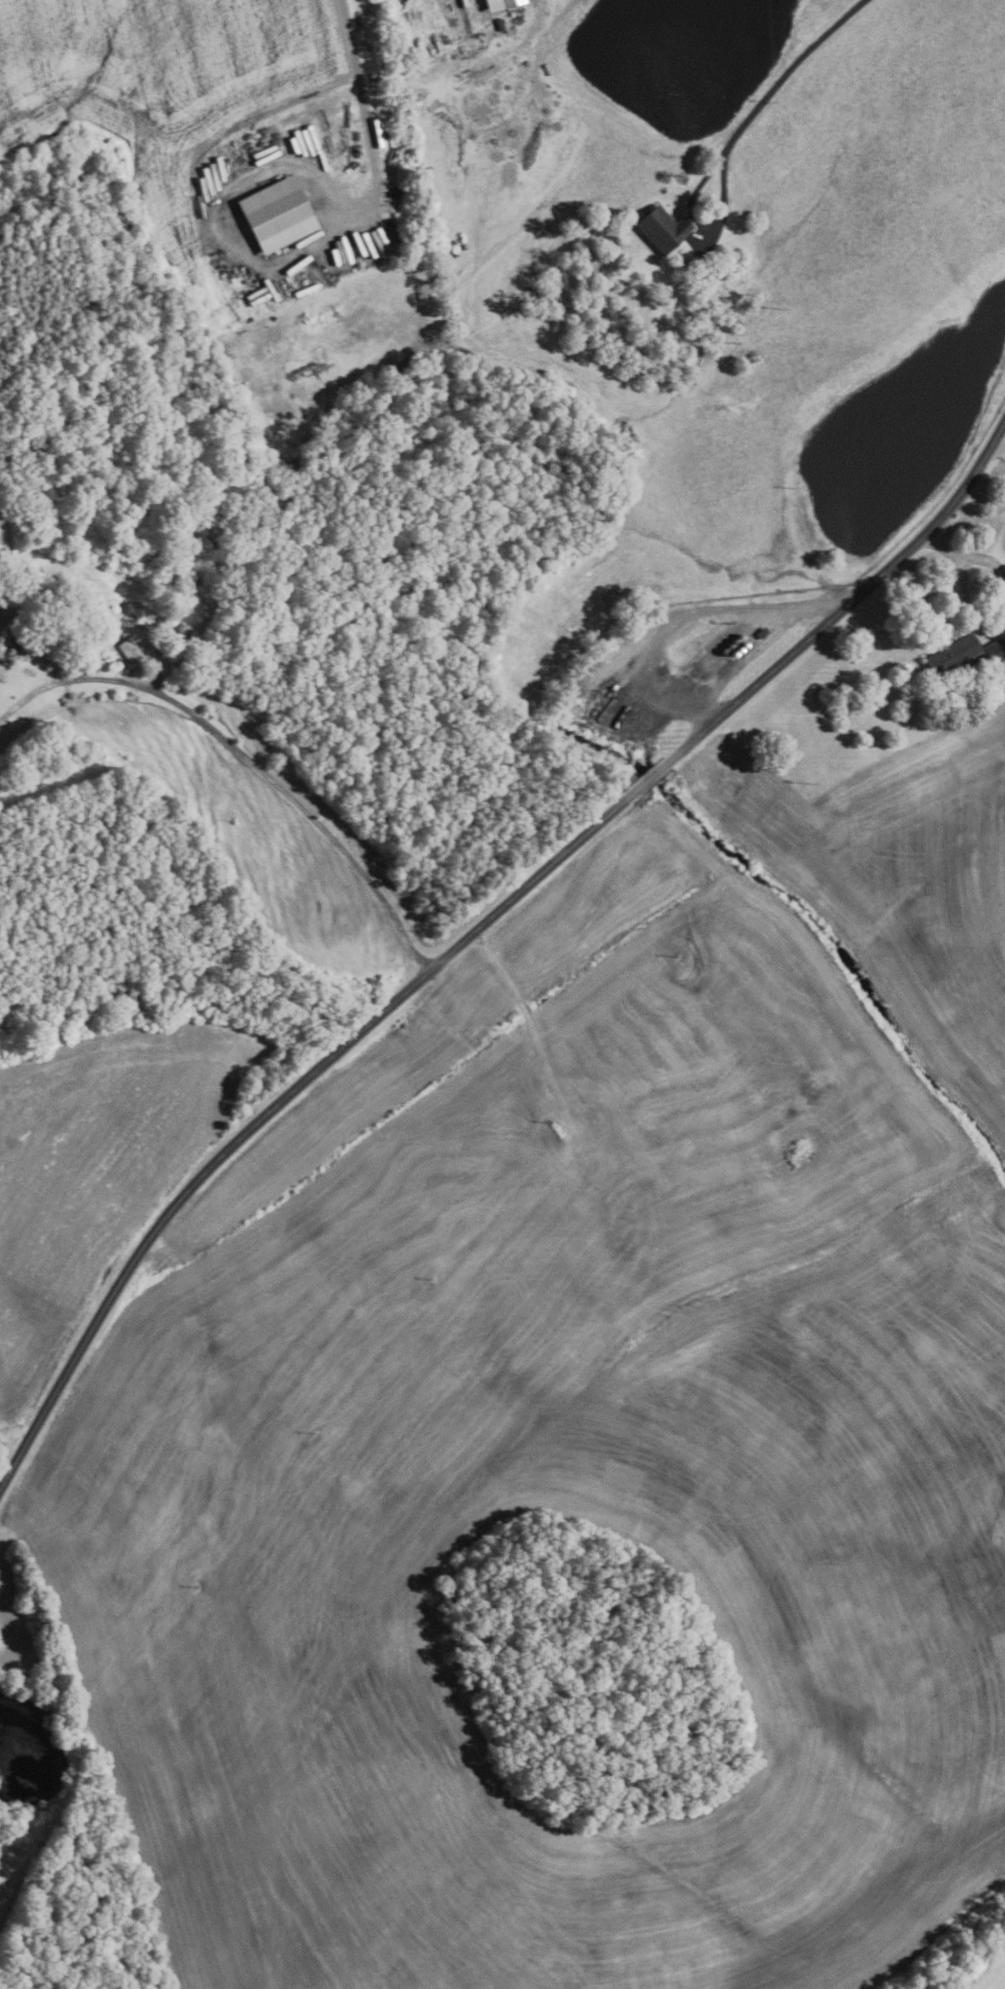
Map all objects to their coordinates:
building: (498, 4)
building: (499, 24)
road: (785, 74)
building: (276, 212)
building: (661, 229)
building: (610, 255)
building: (688, 264)
building: (33, 531)
road: (942, 545)
road: (987, 560)
road: (844, 606)
road: (969, 609)
building: (180, 628)
building: (761, 633)
building: (188, 640)
building: (129, 651)
building: (963, 654)
building: (182, 657)
building: (69, 694)
road: (245, 758)
road: (649, 778)
road: (279, 1103)

